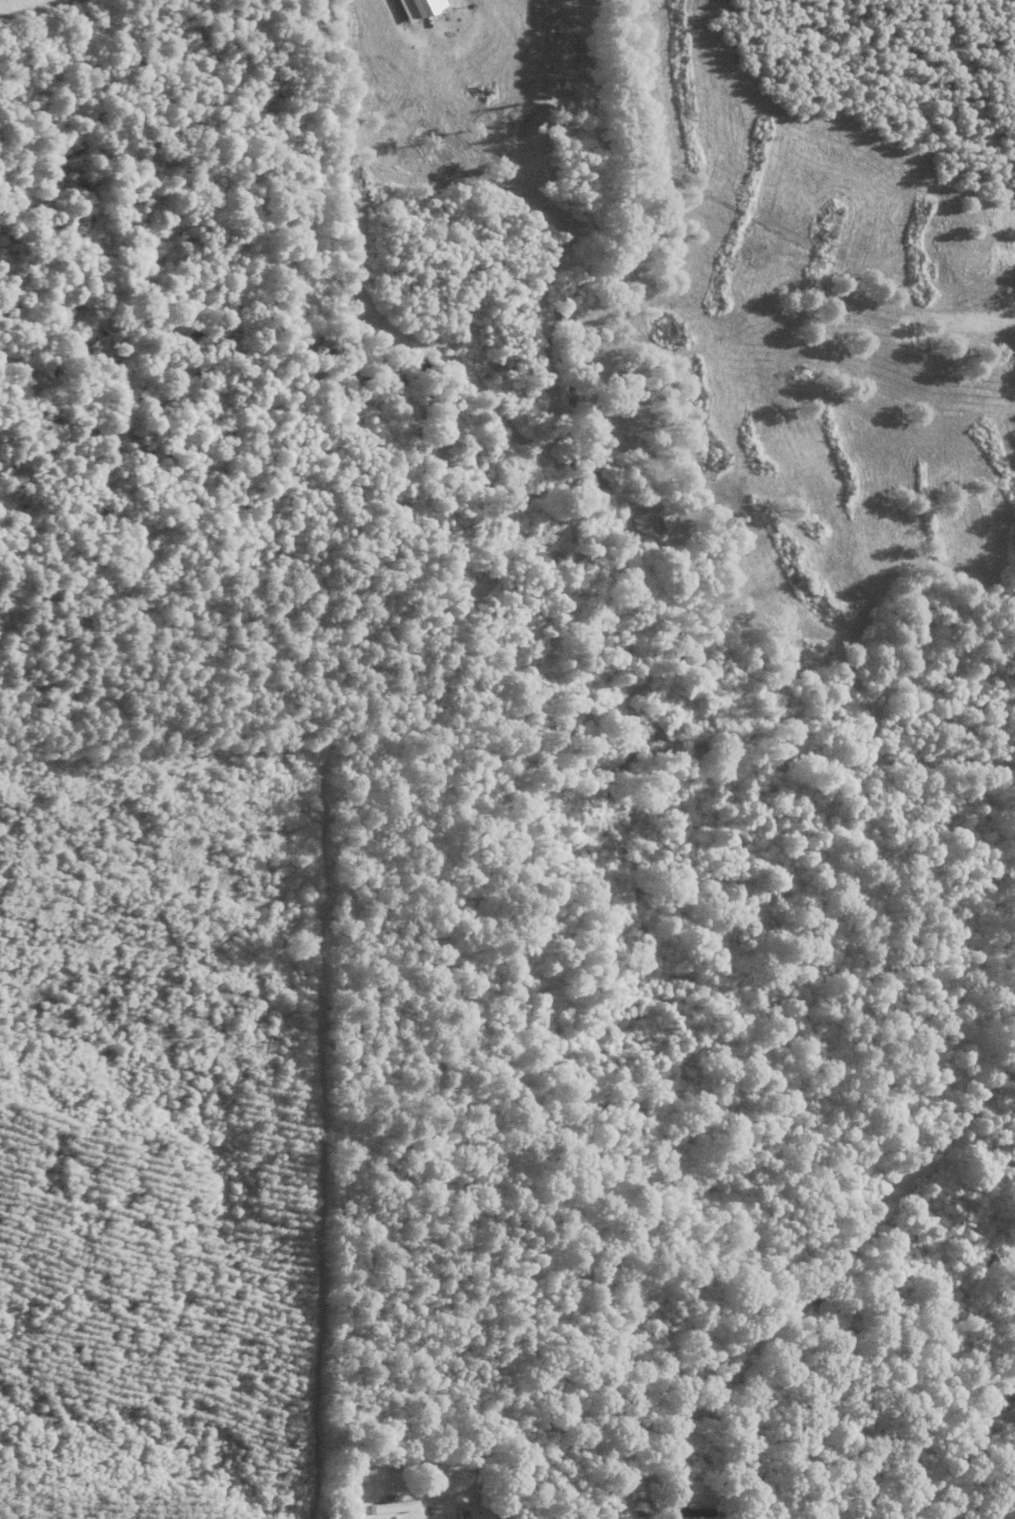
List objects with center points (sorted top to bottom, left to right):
road: (391, 8)
building: (420, 8)
river: (10, 131)
river: (741, 741)
building: (393, 1508)
building: (683, 1513)

